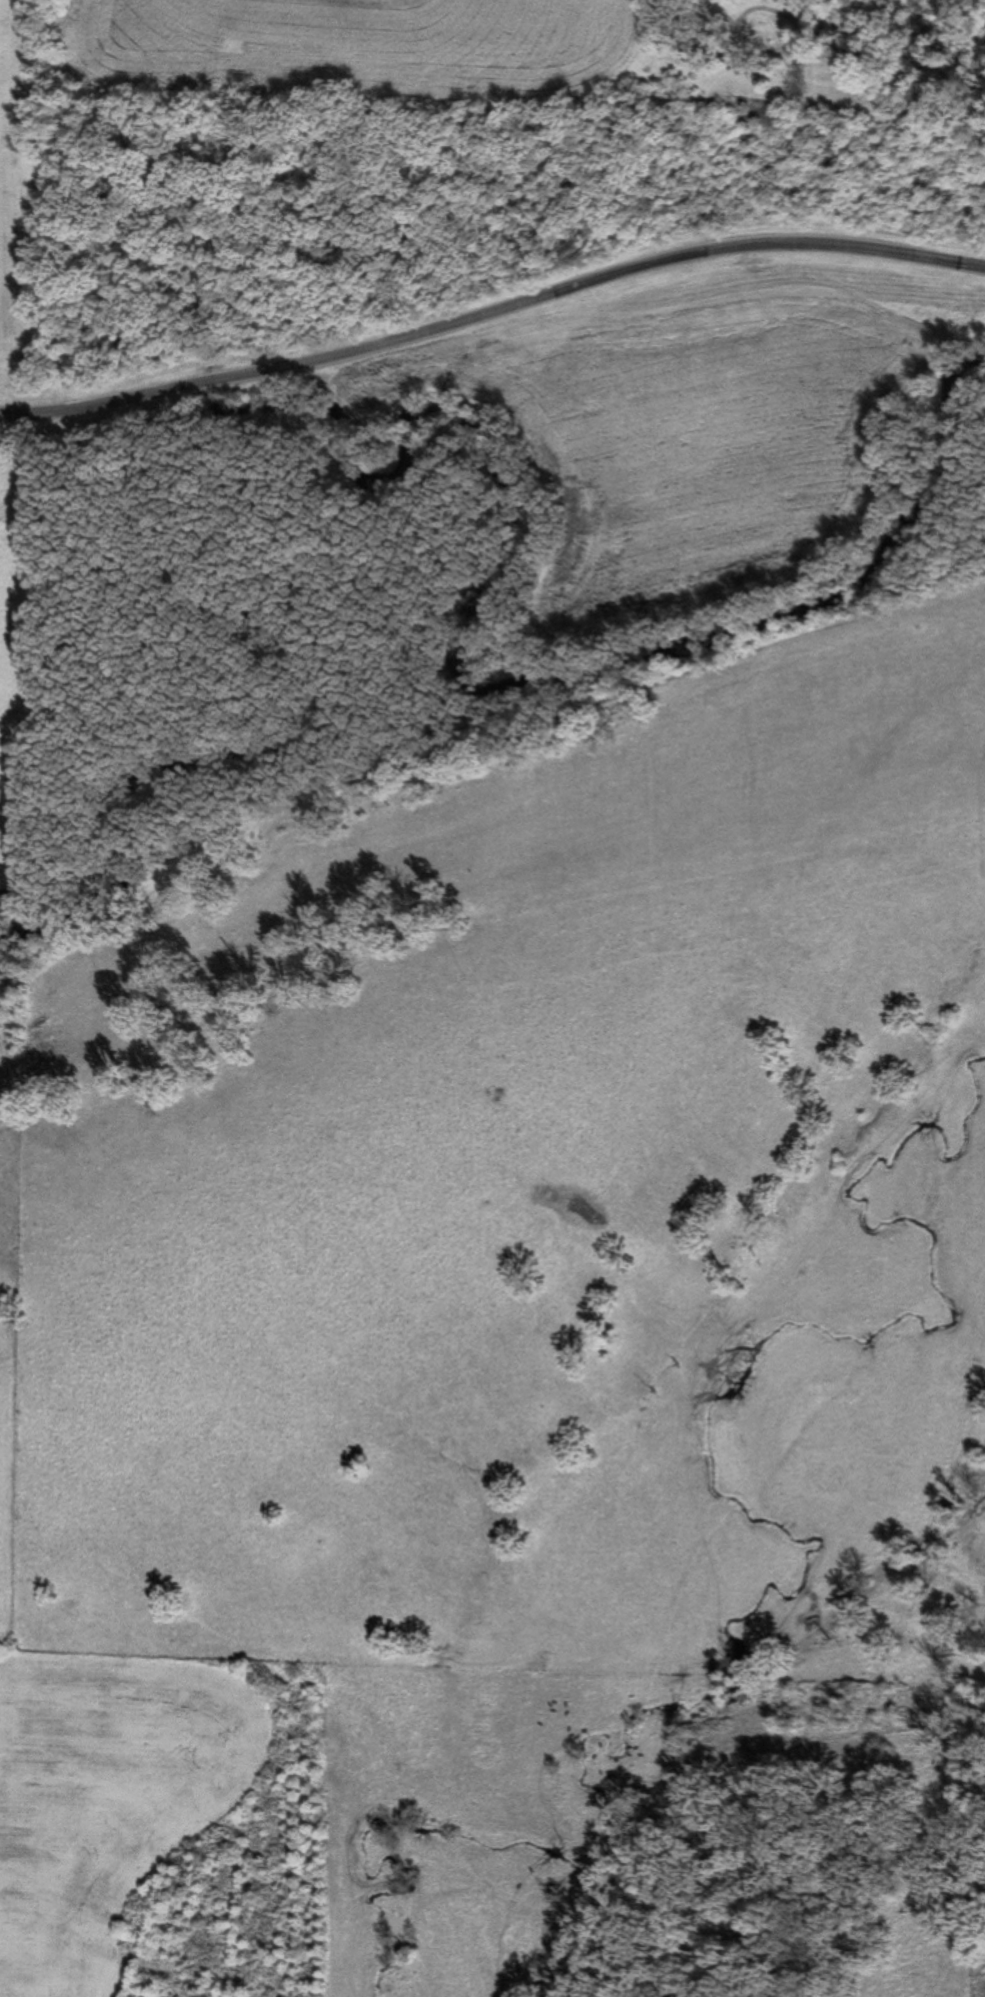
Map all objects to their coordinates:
road: (863, 54)
road: (491, 309)

